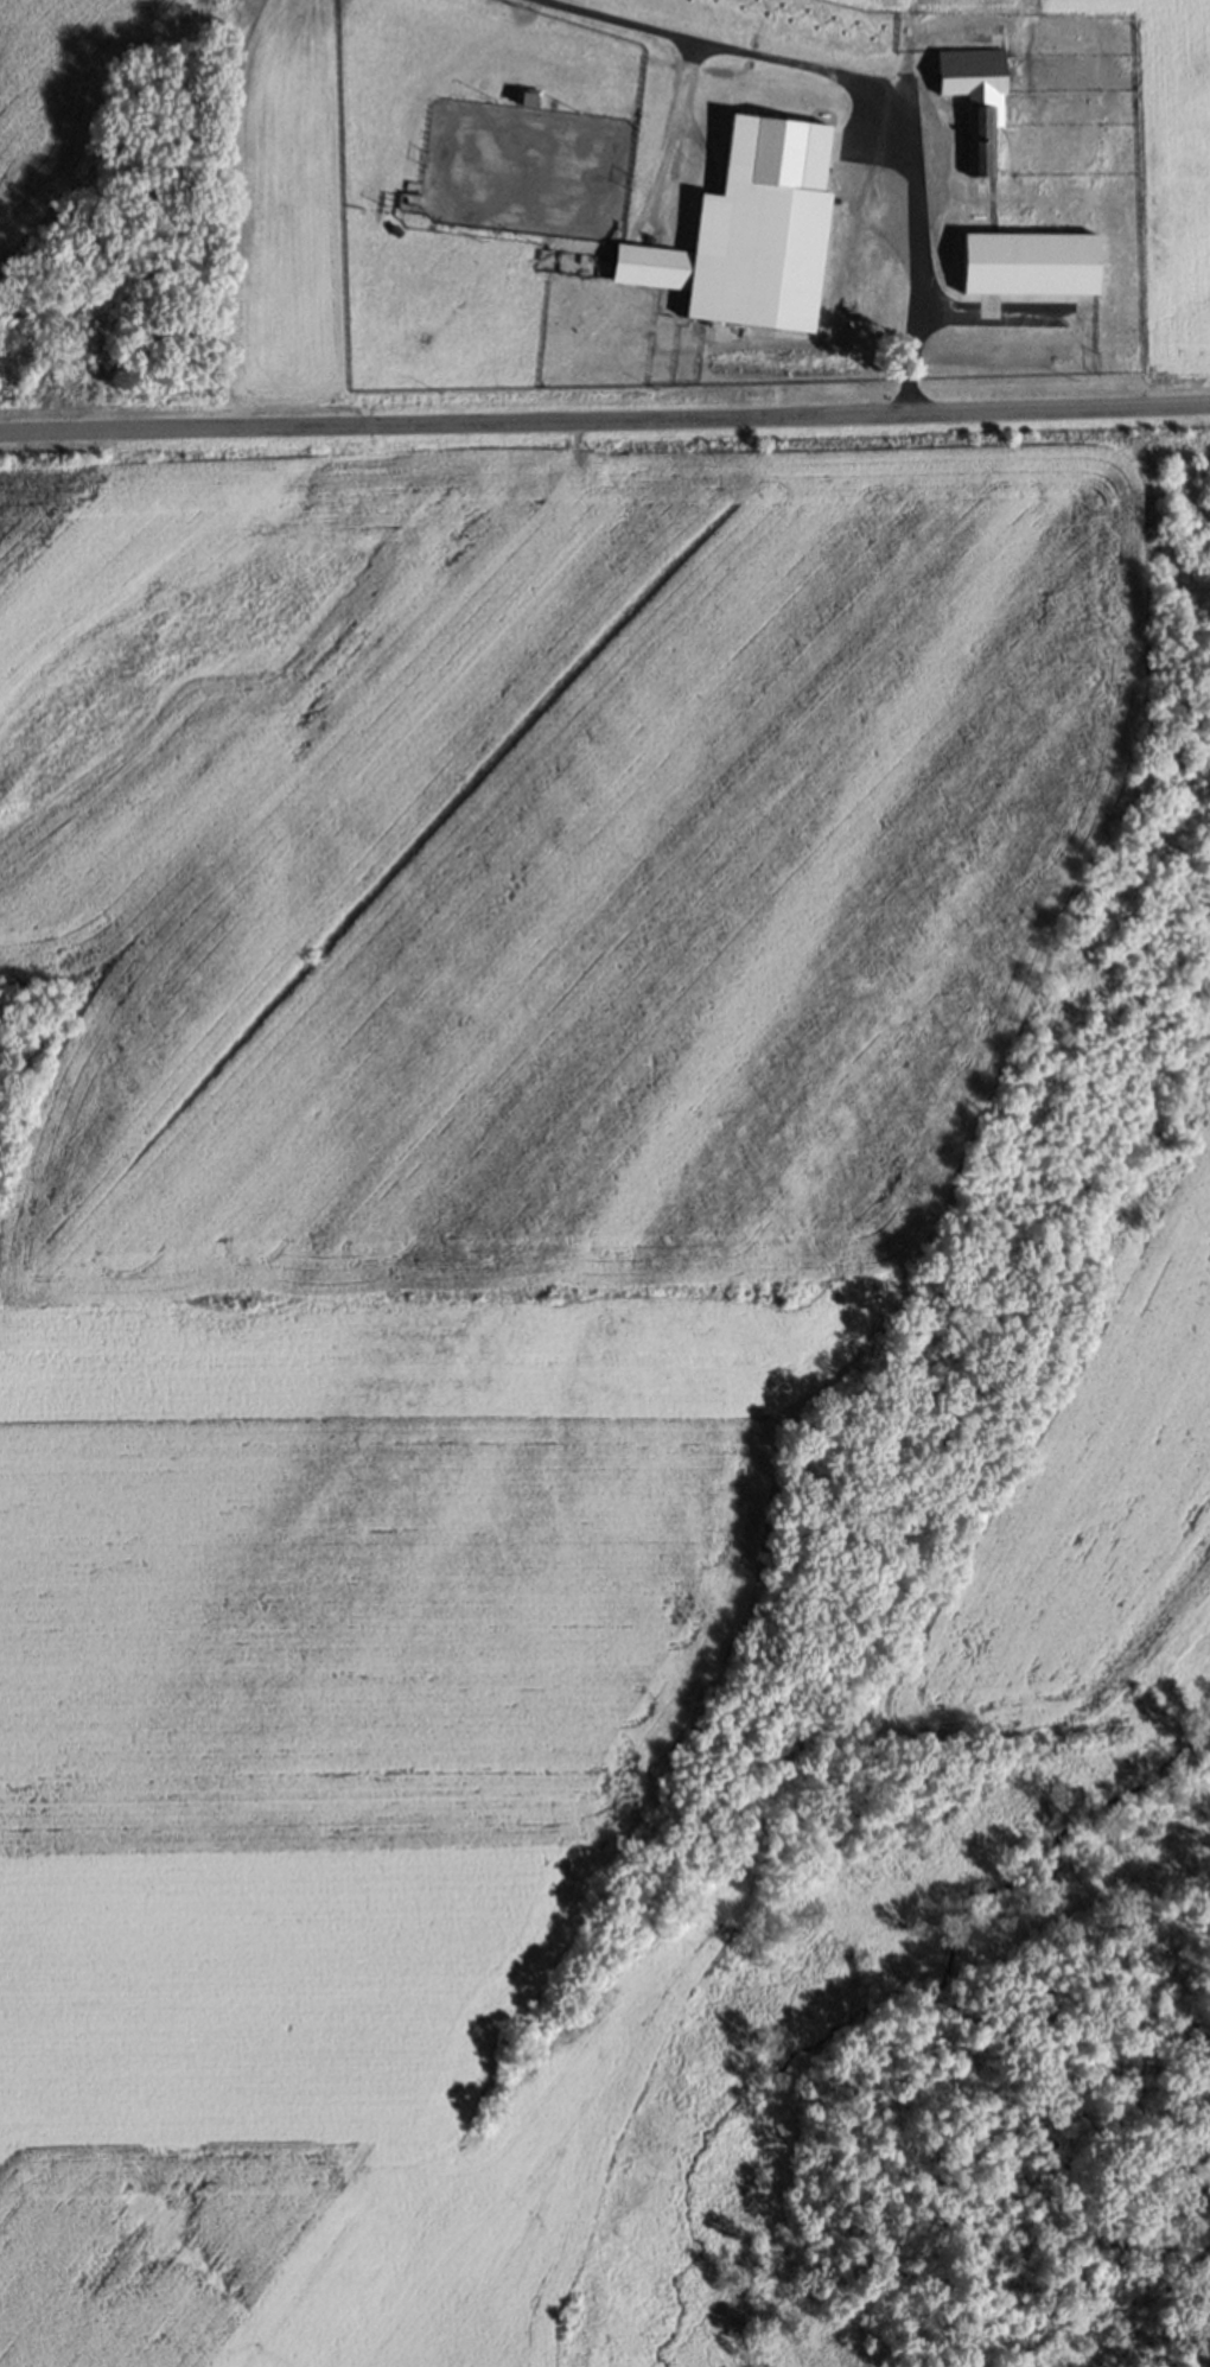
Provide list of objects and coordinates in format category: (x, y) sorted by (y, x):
road: (889, 81)
building: (975, 96)
building: (527, 97)
building: (764, 225)
building: (395, 228)
building: (1031, 261)
building: (609, 262)
road: (605, 424)

